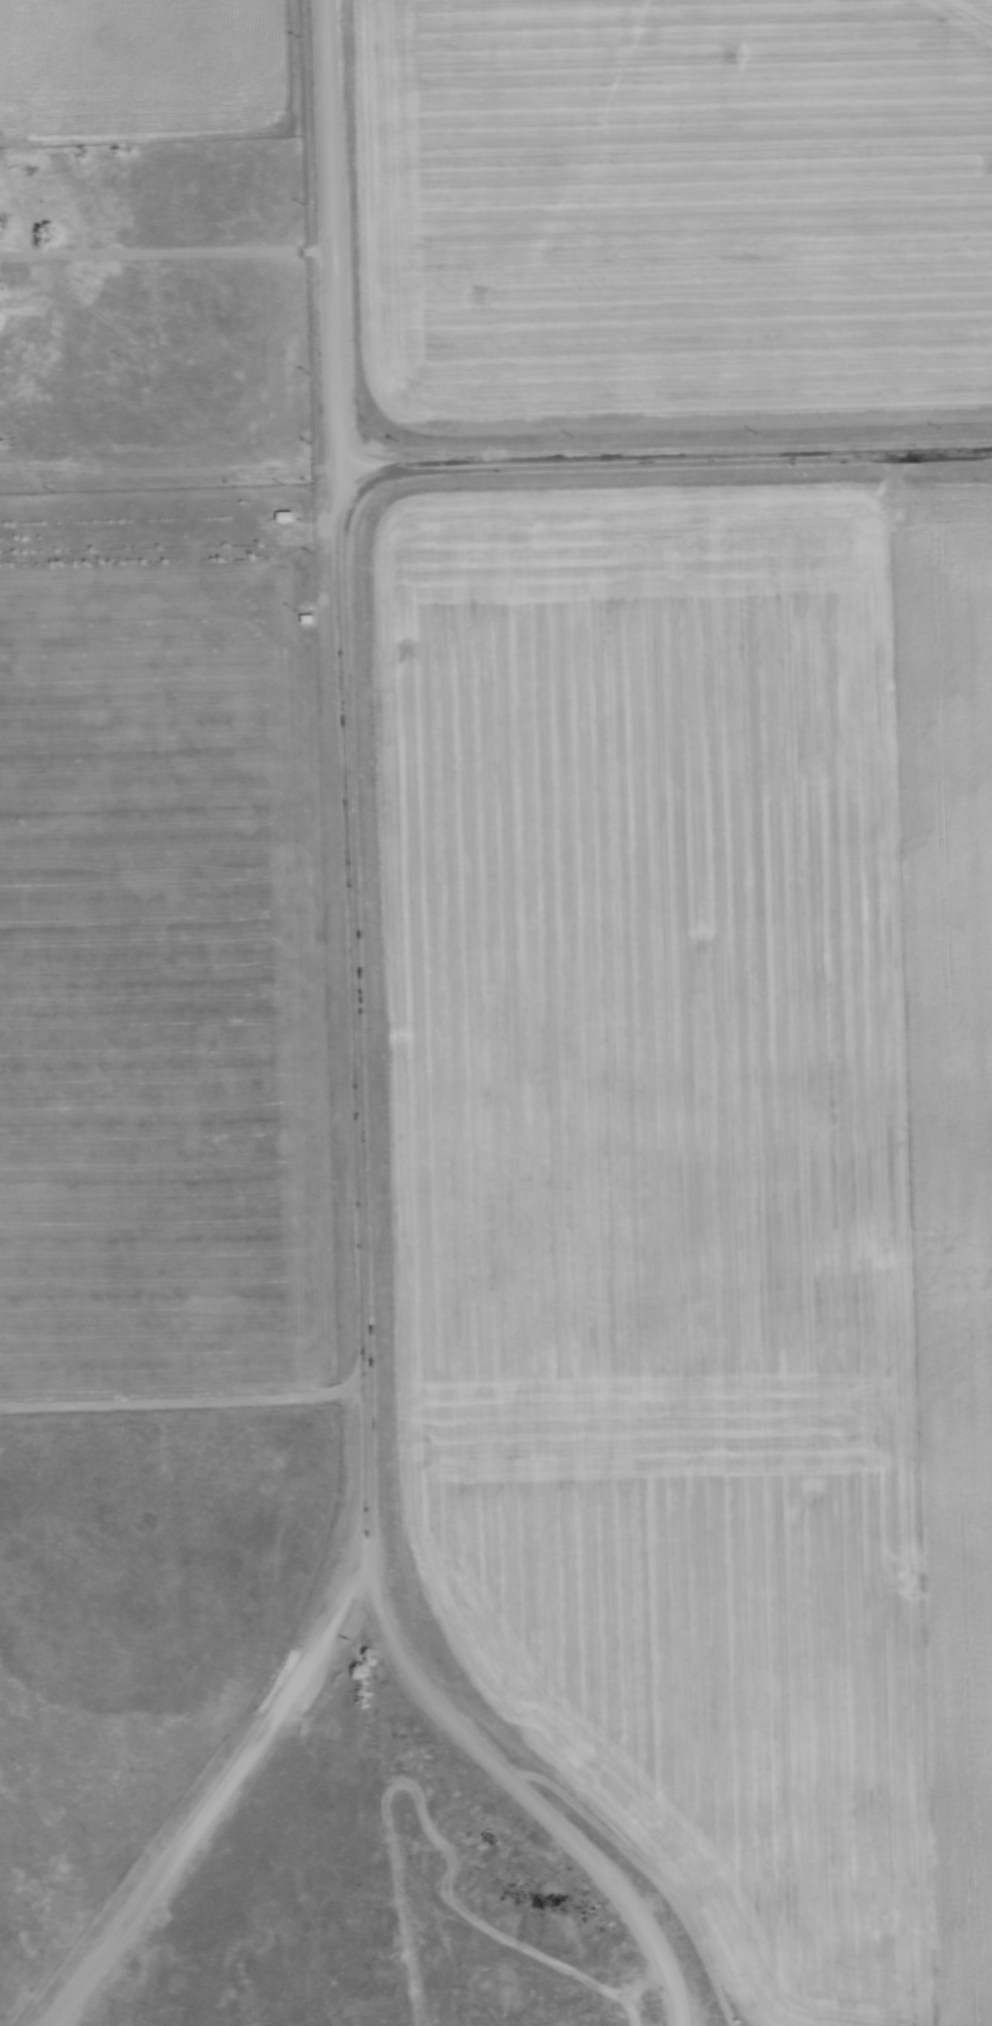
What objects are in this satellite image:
road: (330, 246)
road: (165, 252)
road: (670, 460)
building: (285, 517)
road: (354, 1022)
road: (183, 1402)
road: (522, 1792)
road: (216, 1796)

